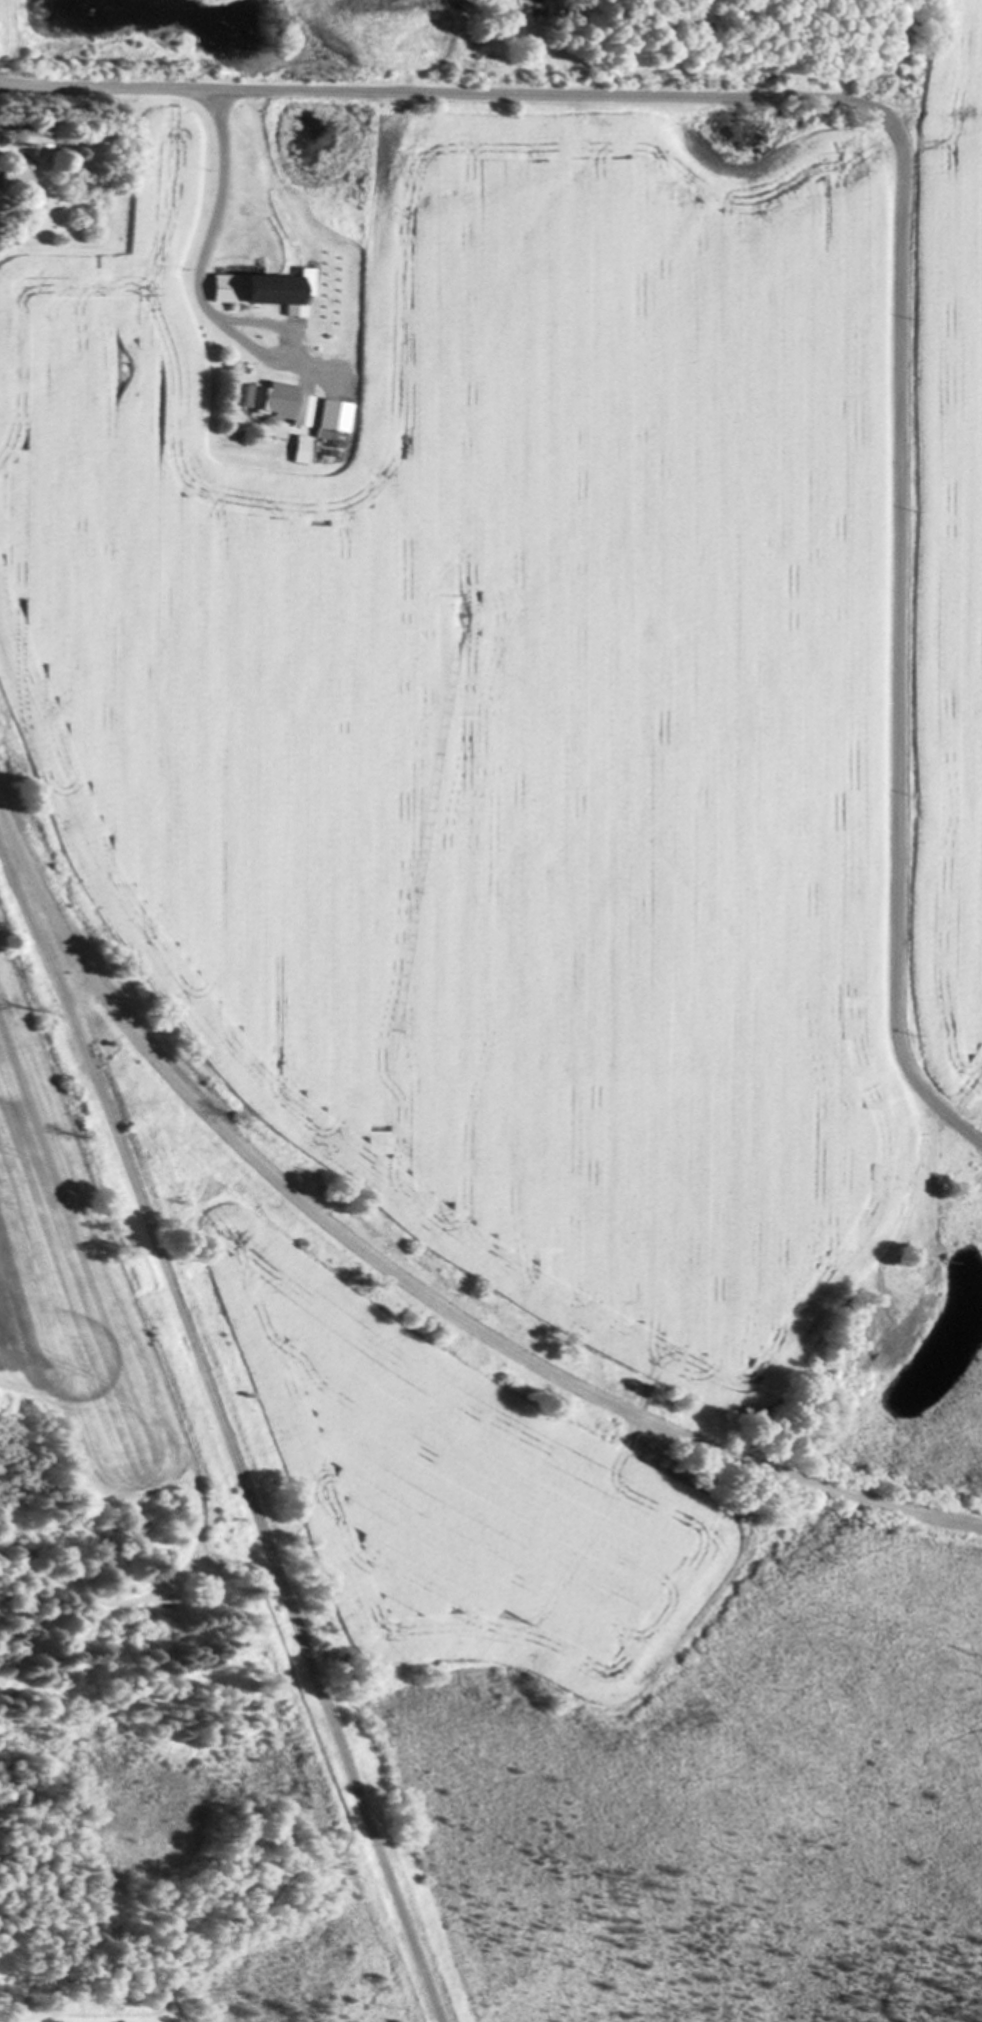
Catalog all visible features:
building: (26, 142)
building: (14, 179)
road: (902, 200)
building: (259, 291)
road: (201, 303)
building: (274, 404)
building: (325, 419)
road: (406, 1281)
road: (225, 1428)

